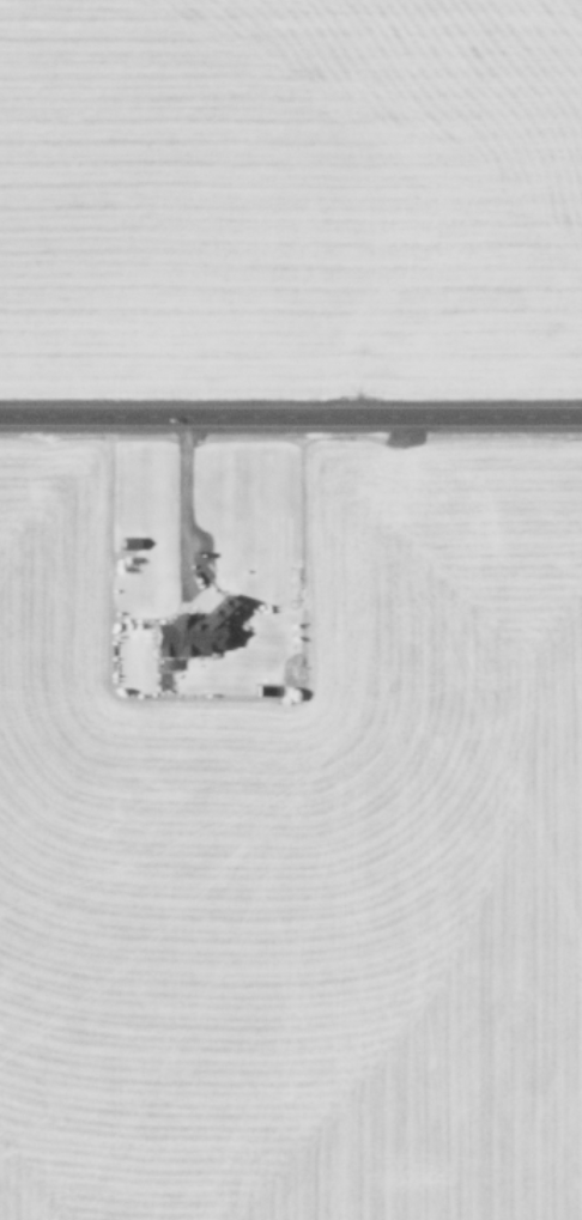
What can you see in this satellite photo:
crop: (291, 187)
road: (290, 414)
crop: (290, 827)

